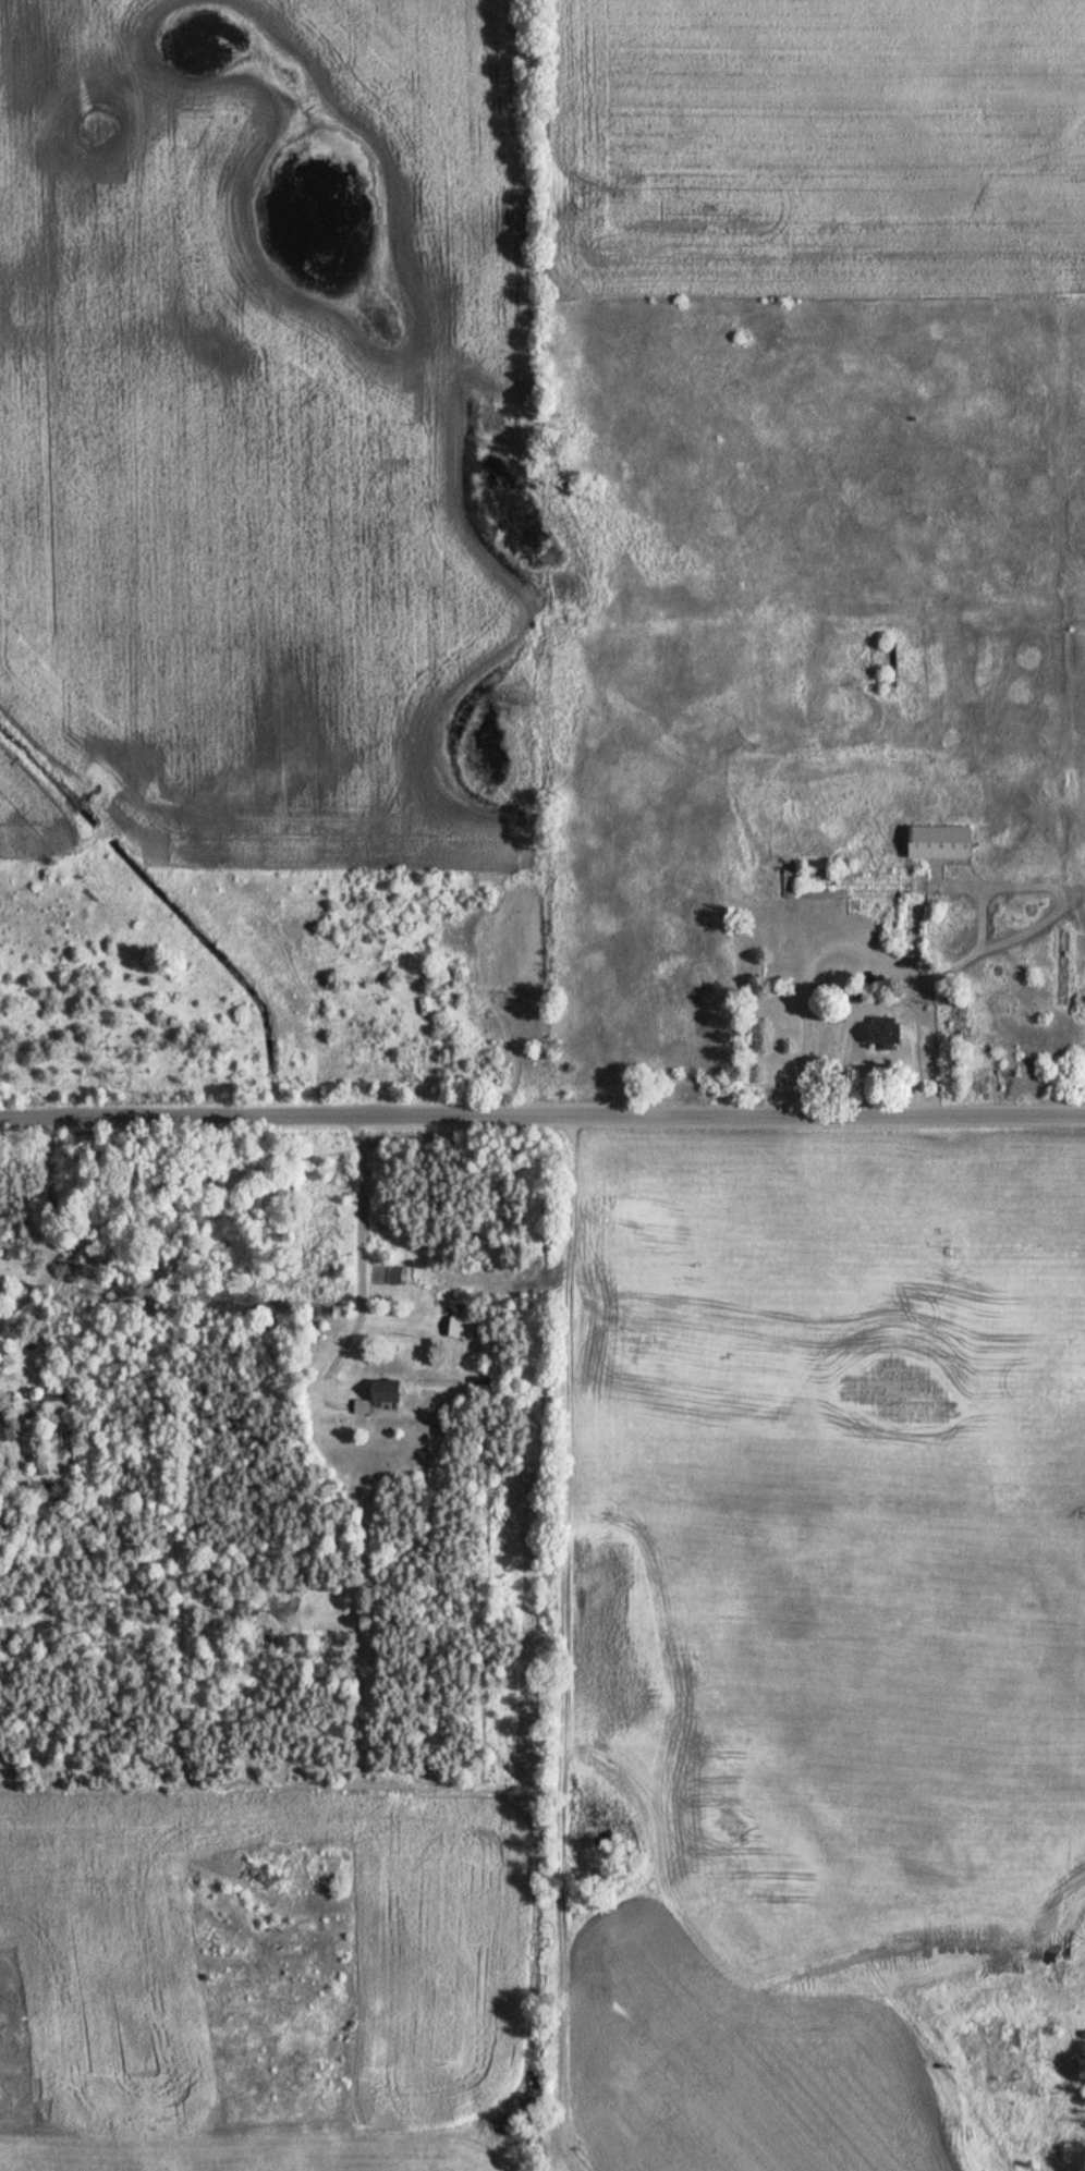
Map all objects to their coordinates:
building: (935, 844)
road: (904, 999)
building: (878, 1034)
road: (542, 1117)
road: (351, 1252)
building: (458, 1329)
building: (379, 1398)
road: (564, 1644)

